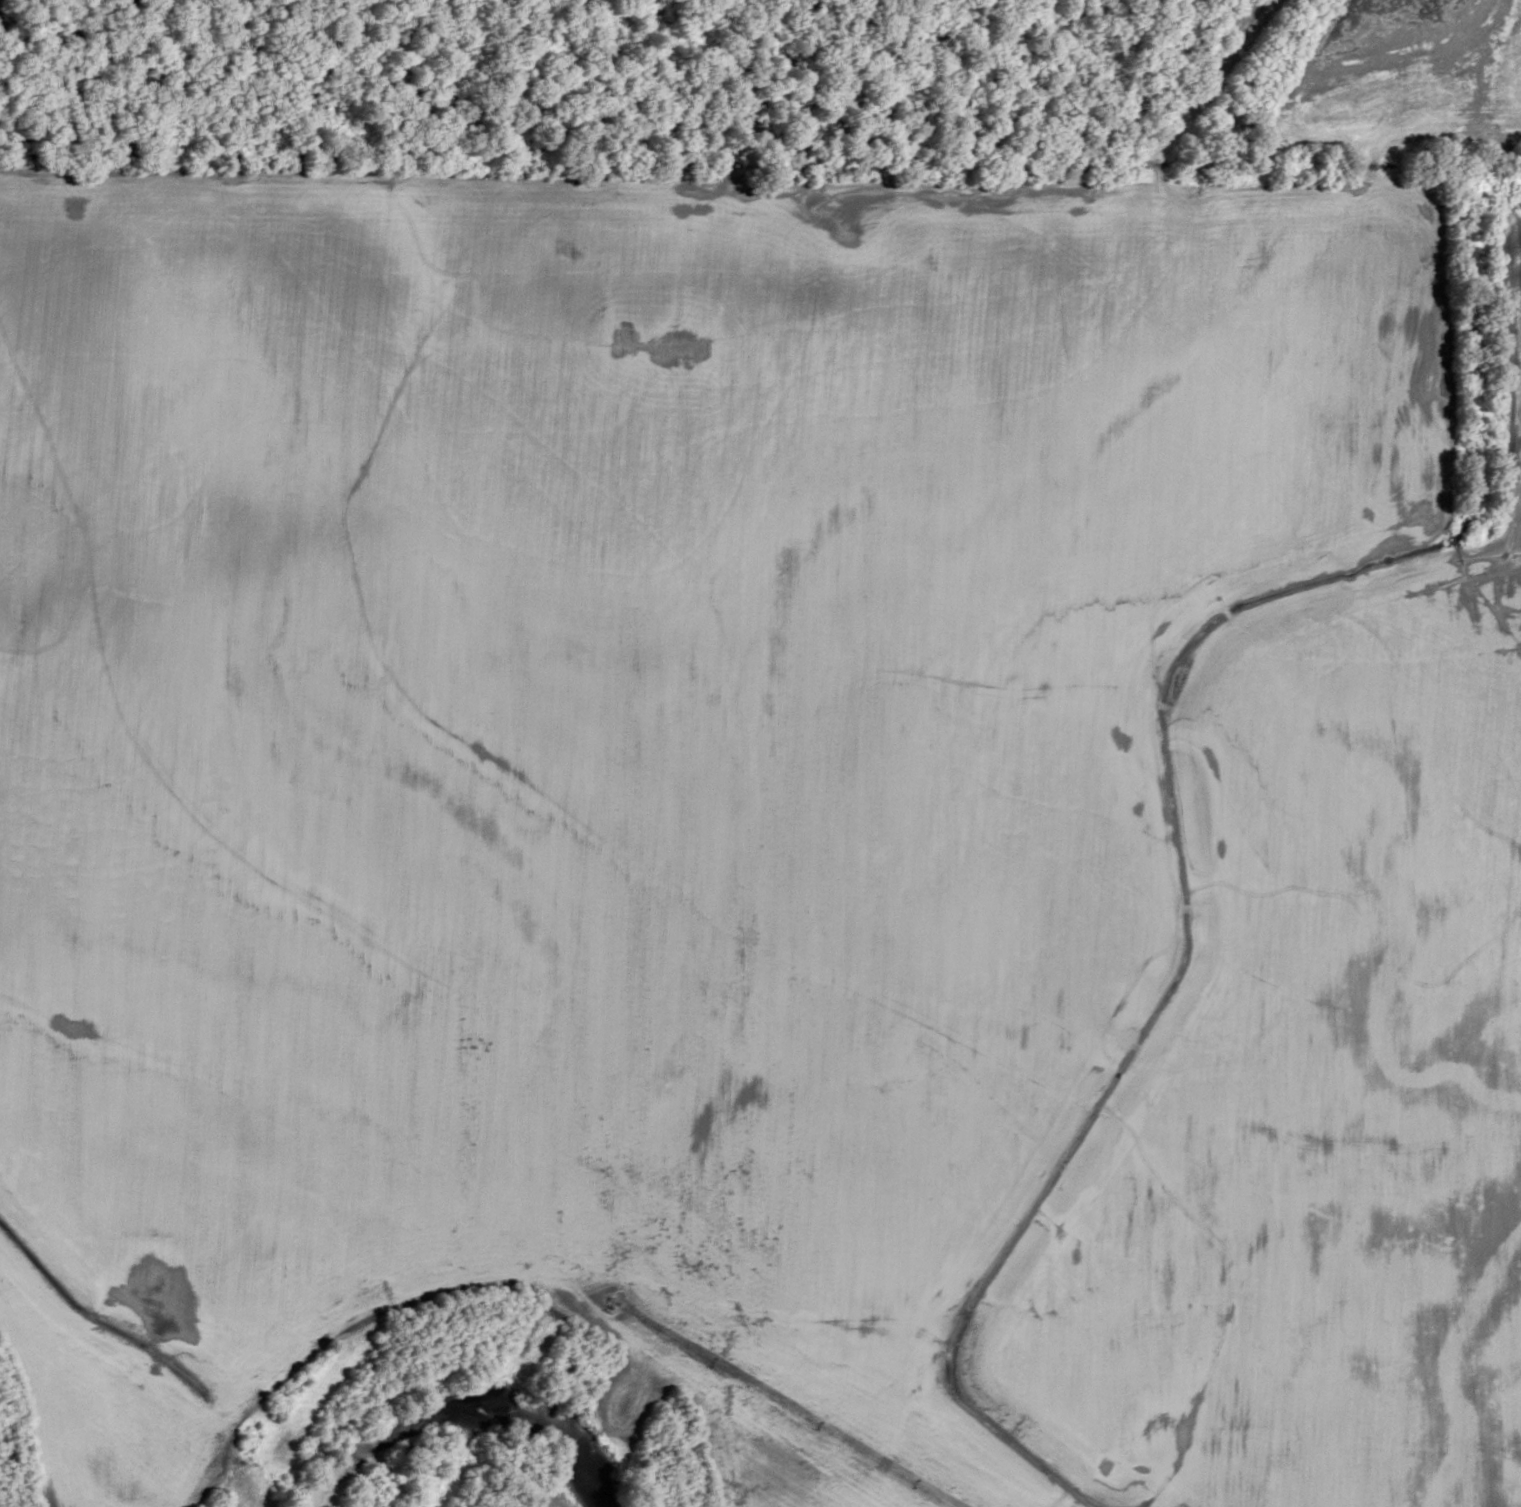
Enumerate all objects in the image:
road: (744, 1413)

